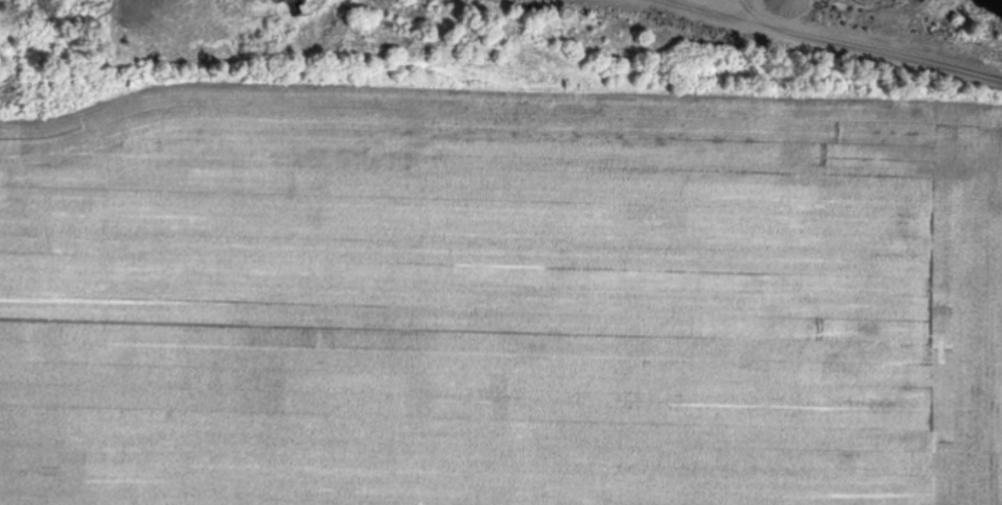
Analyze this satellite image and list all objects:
quarry: (563, 38)
road: (812, 43)
crop: (498, 290)

